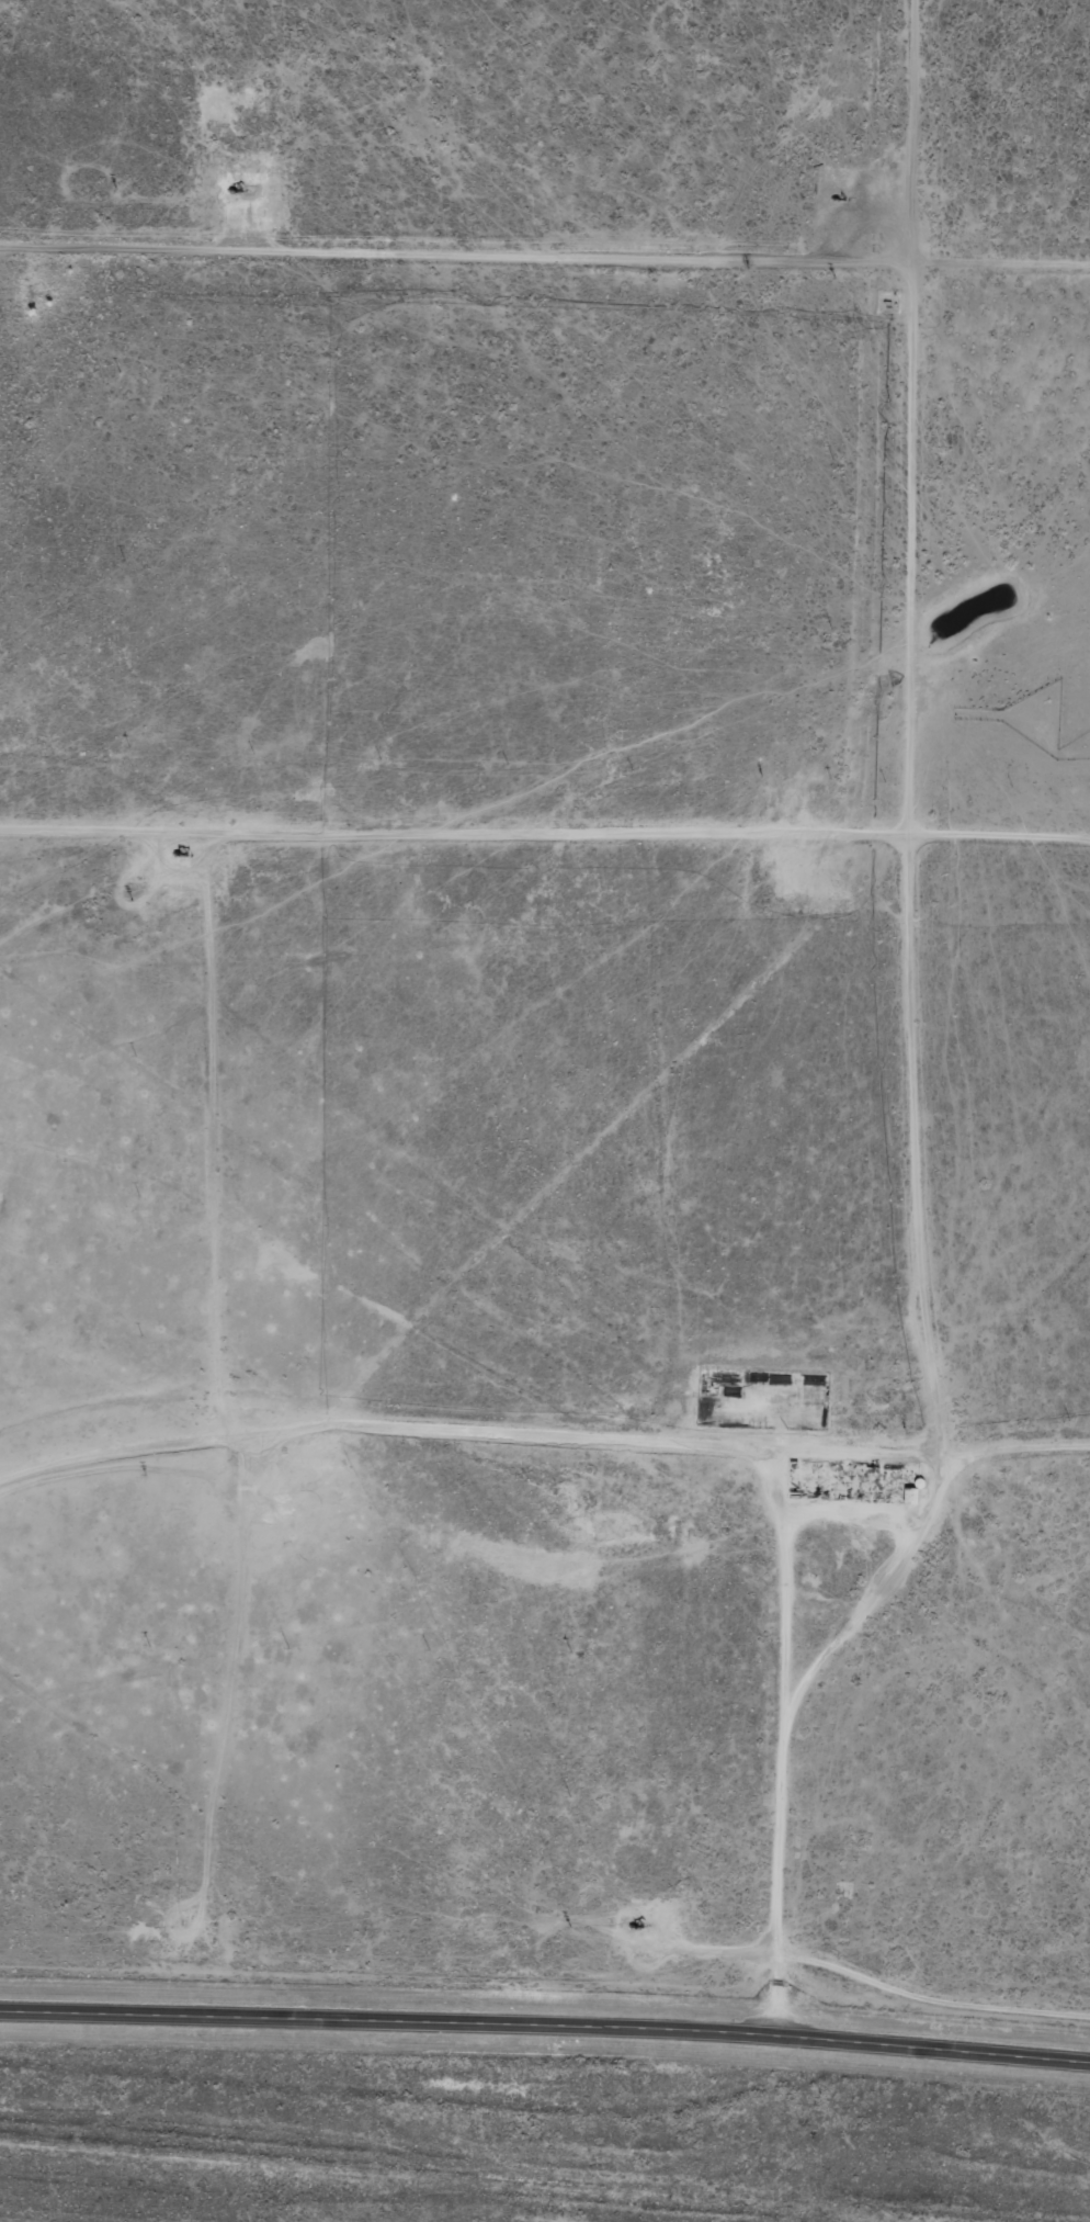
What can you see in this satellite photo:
road: (545, 2045)

